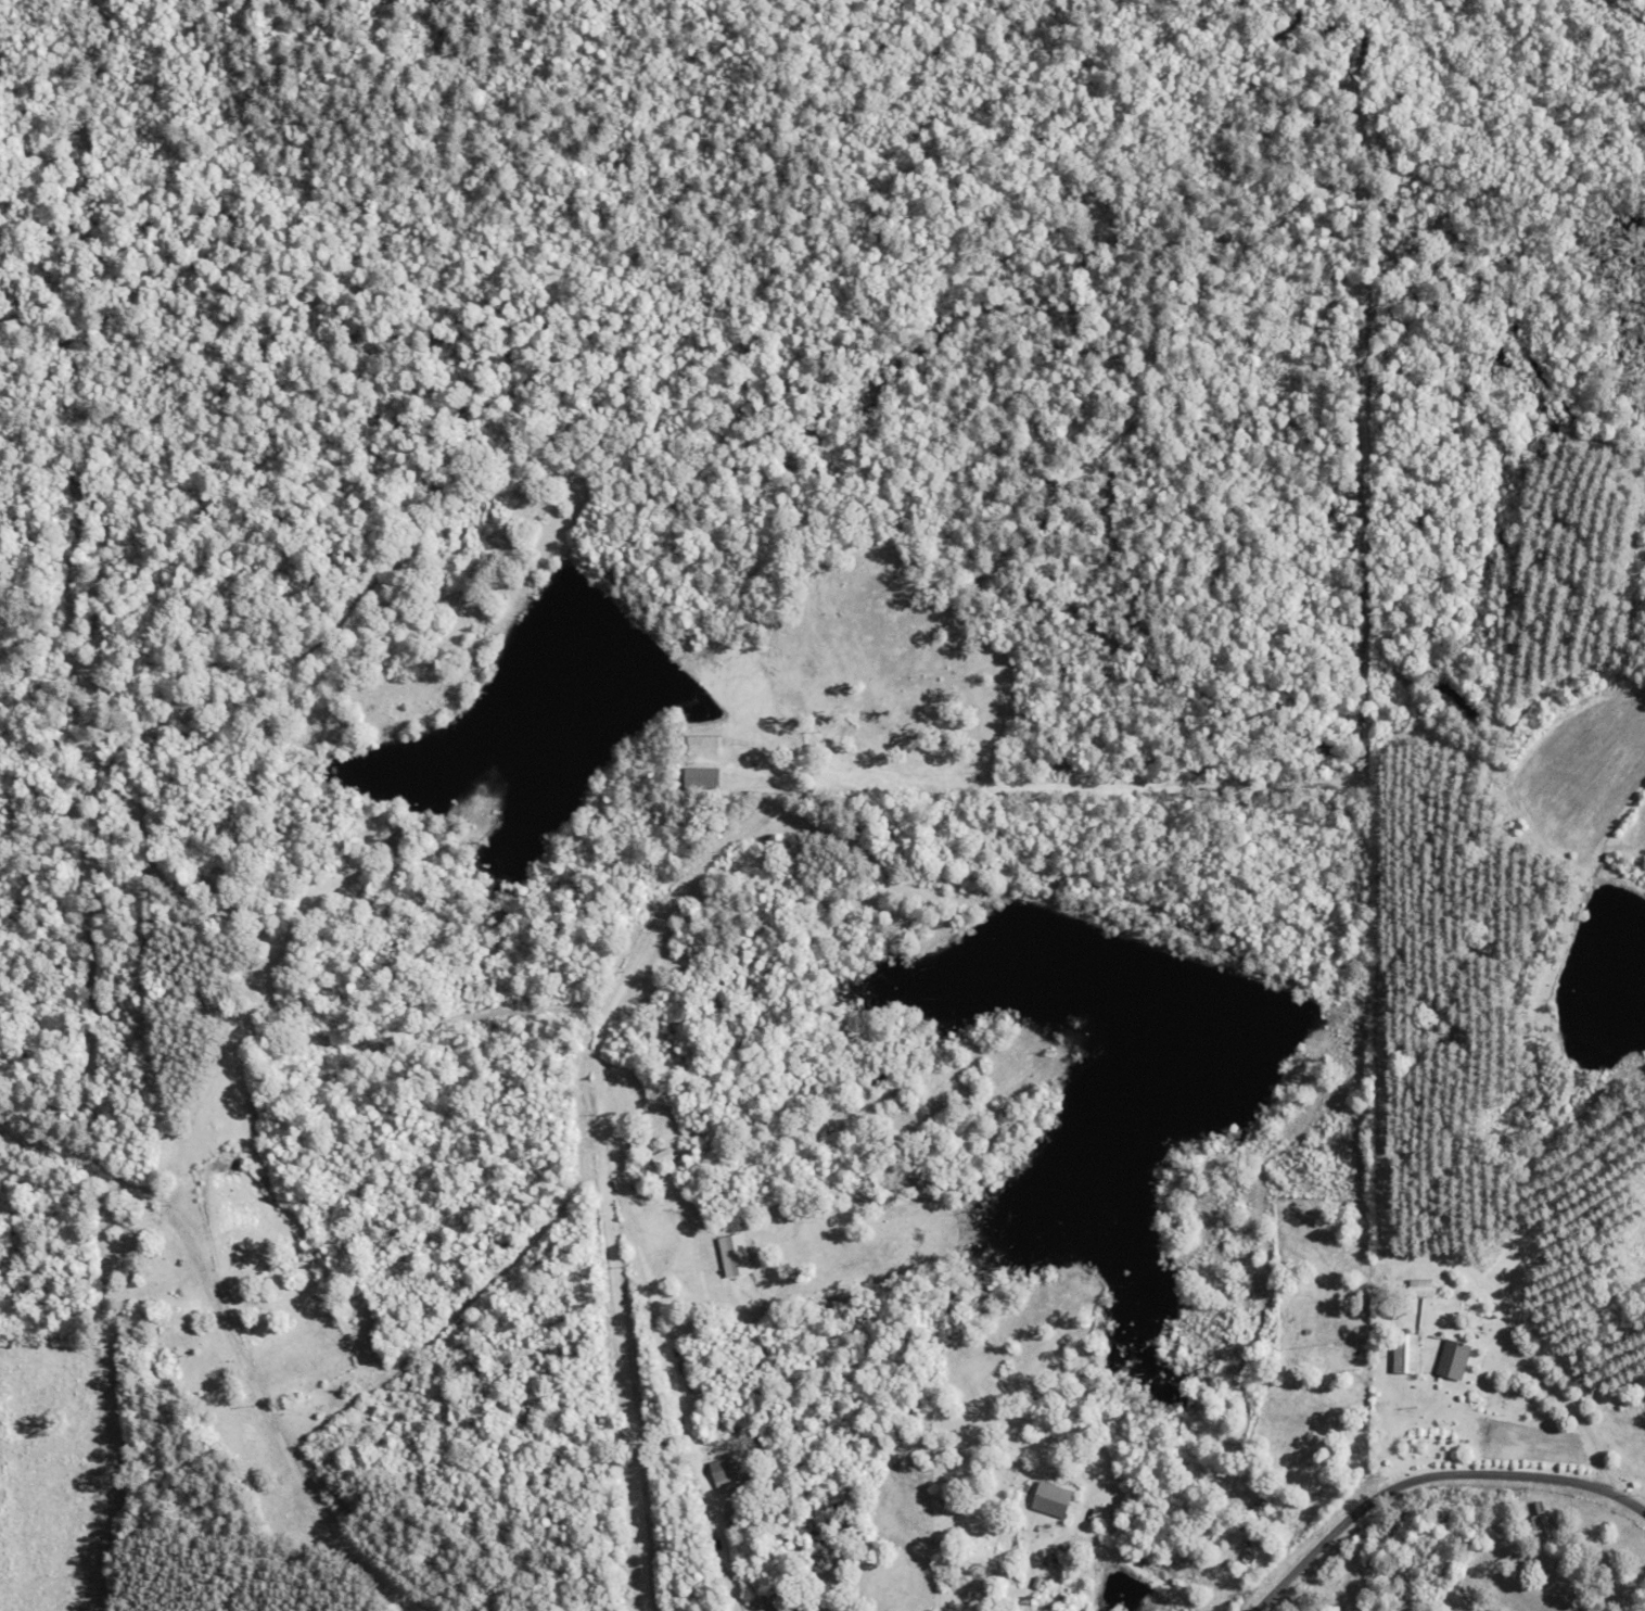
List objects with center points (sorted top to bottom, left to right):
building: (699, 776)
building: (661, 1156)
building: (735, 1254)
building: (1418, 1287)
building: (1404, 1353)
building: (1452, 1359)
road: (264, 1413)
building: (722, 1475)
road: (1428, 1476)
building: (1049, 1498)

